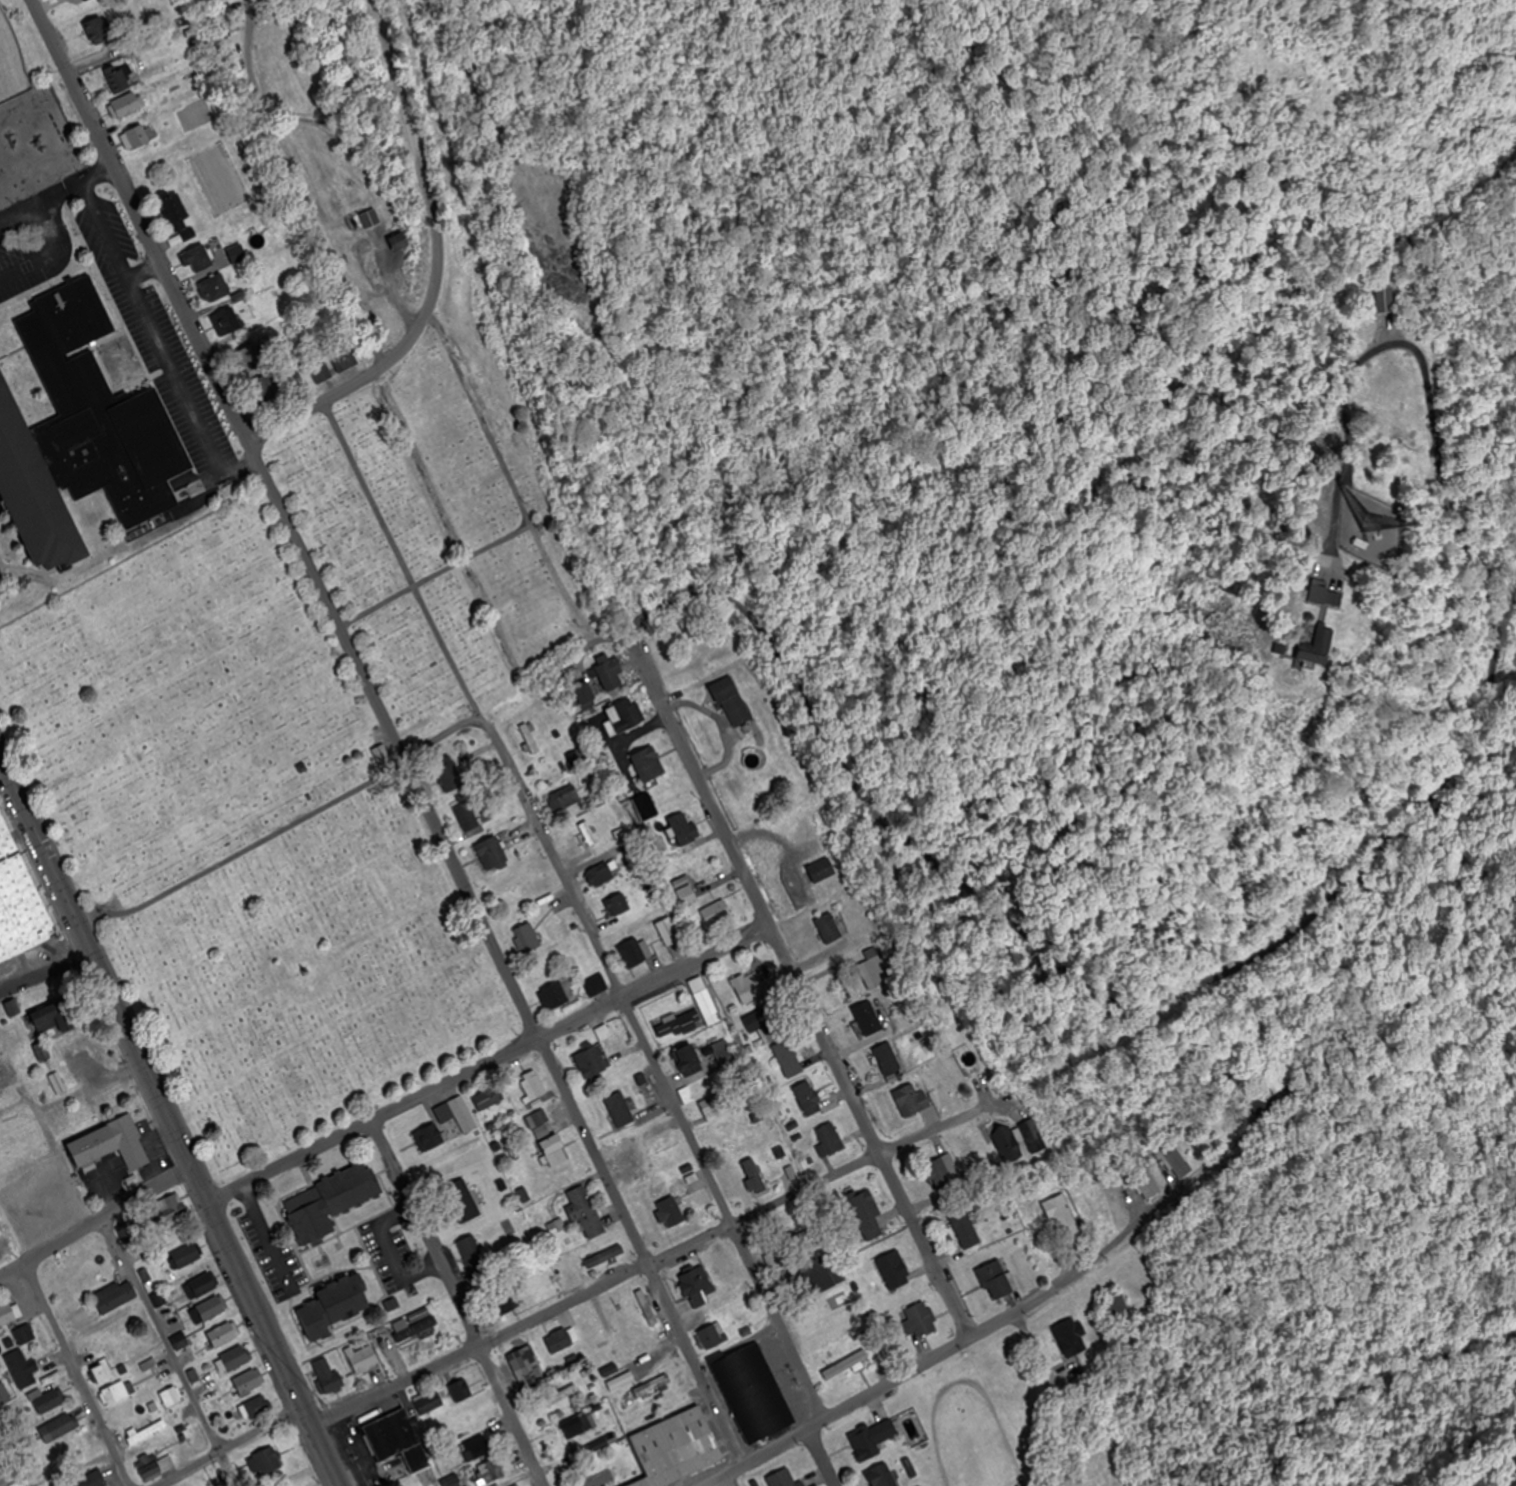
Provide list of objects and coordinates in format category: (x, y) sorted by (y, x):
building: (99, 30)
road: (99, 58)
park: (11, 64)
building: (118, 79)
building: (129, 105)
building: (138, 137)
road: (298, 185)
road: (57, 198)
building: (177, 213)
building: (372, 219)
road: (111, 228)
road: (48, 254)
building: (238, 255)
building: (198, 259)
road: (439, 265)
road: (147, 270)
building: (215, 289)
building: (1385, 300)
building: (227, 322)
building: (249, 355)
building: (345, 359)
building: (321, 371)
road: (188, 390)
building: (267, 390)
building: (82, 434)
road: (1439, 479)
building: (399, 507)
building: (1314, 655)
building: (611, 674)
building: (586, 694)
building: (738, 707)
building: (624, 716)
road: (387, 731)
road: (442, 740)
park: (306, 745)
building: (383, 754)
building: (650, 764)
building: (449, 775)
building: (564, 795)
road: (23, 803)
building: (647, 807)
building: (469, 815)
building: (685, 828)
building: (492, 853)
building: (824, 871)
building: (601, 875)
building: (690, 896)
flagpole: (95, 902)
building: (20, 903)
building: (619, 905)
road: (577, 910)
building: (717, 913)
road: (968, 920)
building: (833, 928)
building: (669, 931)
building: (527, 938)
building: (633, 953)
building: (597, 985)
building: (750, 985)
road: (806, 991)
building: (555, 996)
building: (709, 1007)
building: (53, 1012)
building: (869, 1018)
building: (678, 1025)
building: (770, 1026)
building: (605, 1033)
building: (44, 1050)
building: (725, 1053)
road: (490, 1058)
building: (889, 1058)
building: (789, 1059)
building: (691, 1060)
building: (591, 1062)
building: (59, 1081)
building: (534, 1086)
building: (489, 1098)
building: (810, 1098)
building: (914, 1100)
building: (713, 1109)
building: (620, 1110)
building: (464, 1115)
building: (540, 1123)
road: (177, 1130)
building: (1034, 1135)
building: (429, 1138)
building: (112, 1140)
building: (831, 1141)
building: (1010, 1143)
building: (555, 1151)
building: (634, 1164)
building: (939, 1174)
building: (744, 1178)
building: (1148, 1183)
building: (327, 1200)
building: (463, 1202)
building: (173, 1207)
building: (662, 1212)
building: (585, 1213)
building: (869, 1216)
building: (1065, 1221)
road: (98, 1223)
building: (967, 1230)
road: (268, 1240)
road: (391, 1254)
building: (188, 1256)
building: (475, 1258)
building: (606, 1258)
road: (664, 1260)
building: (896, 1271)
building: (822, 1276)
building: (787, 1277)
building: (997, 1281)
building: (205, 1287)
building: (698, 1288)
building: (116, 1296)
road: (462, 1301)
building: (507, 1303)
building: (335, 1304)
building: (1115, 1307)
building: (213, 1308)
building: (649, 1311)
building: (7, 1313)
building: (920, 1322)
building: (414, 1325)
road: (167, 1331)
road: (986, 1331)
building: (25, 1335)
building: (224, 1335)
building: (710, 1338)
building: (1071, 1338)
building: (561, 1341)
building: (237, 1358)
building: (523, 1358)
building: (363, 1359)
building: (851, 1363)
road: (1373, 1363)
building: (22, 1369)
building: (103, 1371)
building: (610, 1371)
road: (79, 1375)
building: (250, 1382)
building: (622, 1382)
building: (335, 1383)
building: (653, 1386)
building: (753, 1390)
building: (462, 1391)
building: (117, 1393)
building: (4, 1395)
building: (171, 1396)
building: (50, 1400)
building: (430, 1403)
street lamp: (325, 1406)
building: (256, 1408)
building: (578, 1426)
building: (60, 1428)
building: (890, 1429)
building: (146, 1432)
building: (397, 1438)
road: (230, 1442)
building: (865, 1444)
road: (329, 1445)
building: (676, 1445)
road: (824, 1456)
building: (266, 1462)
building: (492, 1471)
building: (2, 1474)
building: (883, 1476)
building: (451, 1479)
building: (784, 1479)
building: (92, 1480)
building: (601, 1481)

